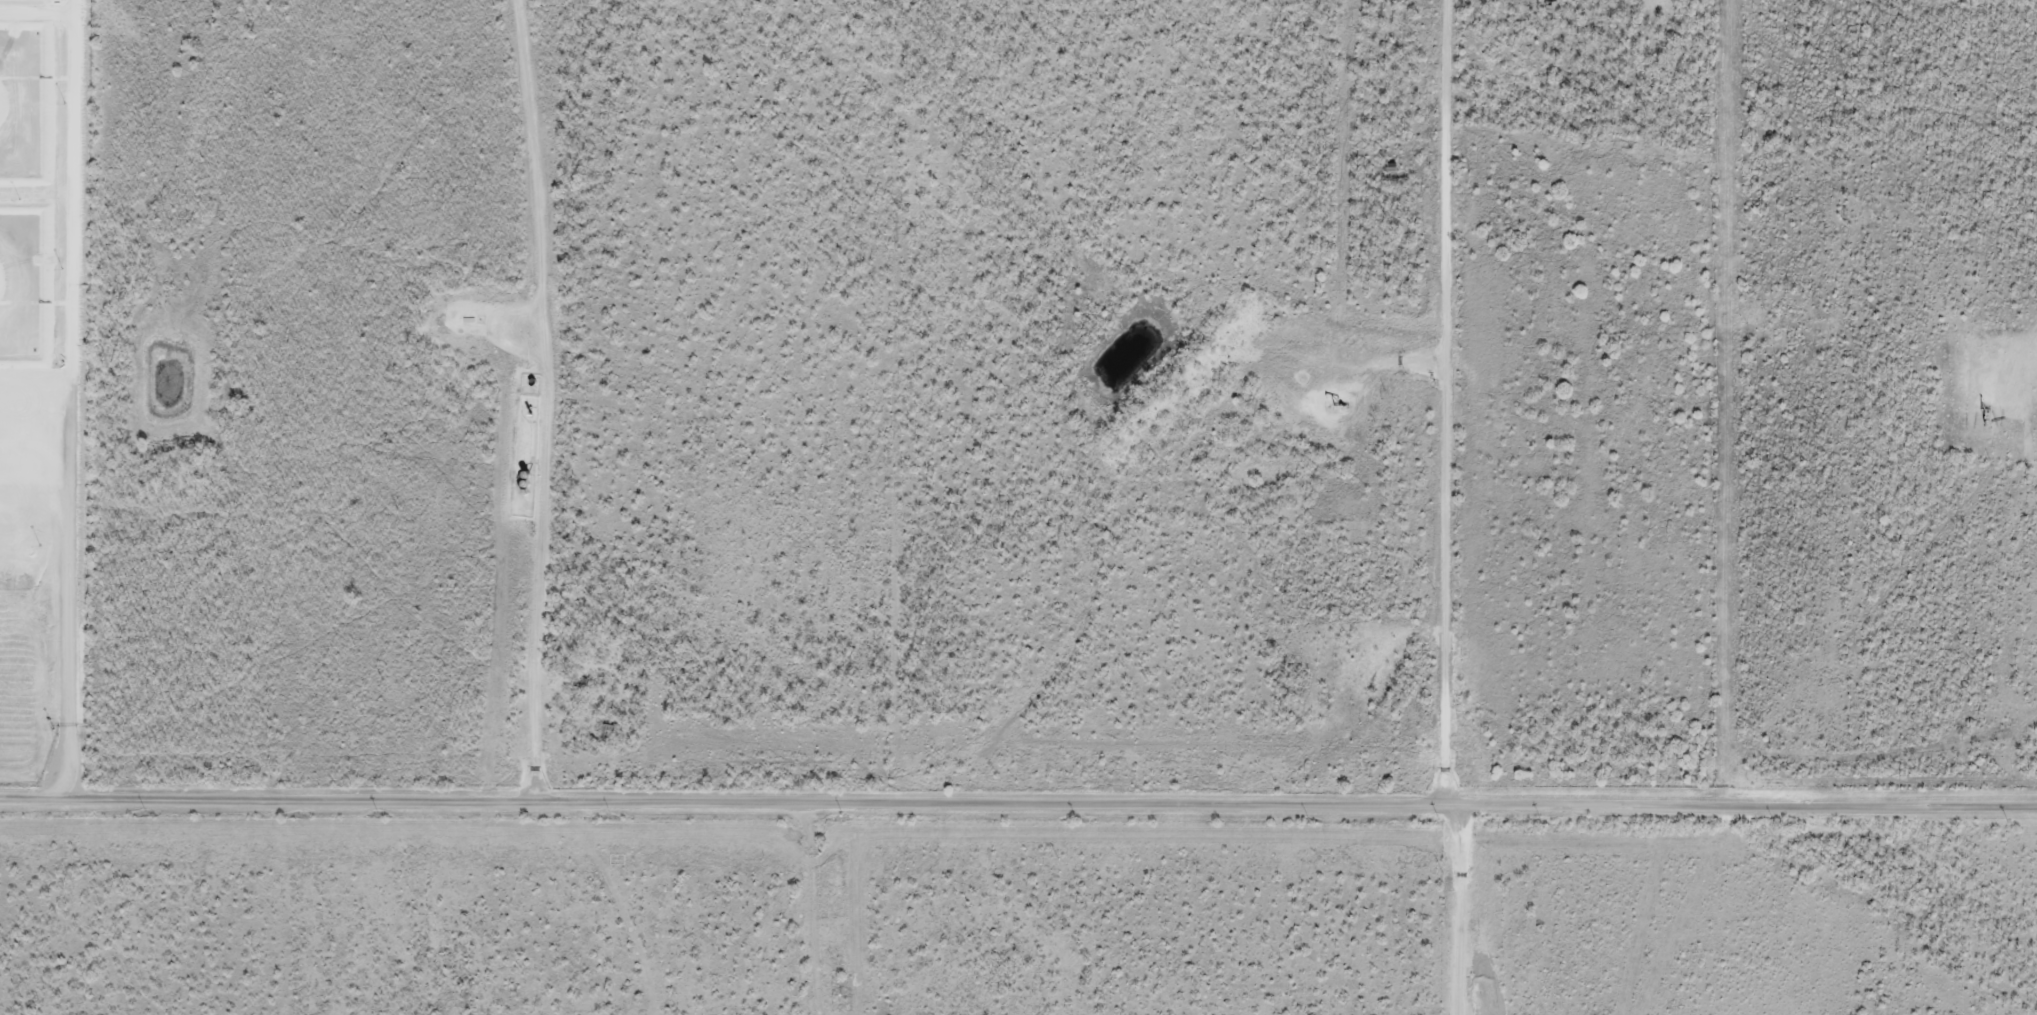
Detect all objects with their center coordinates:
road: (1444, 403)
road: (1018, 805)

